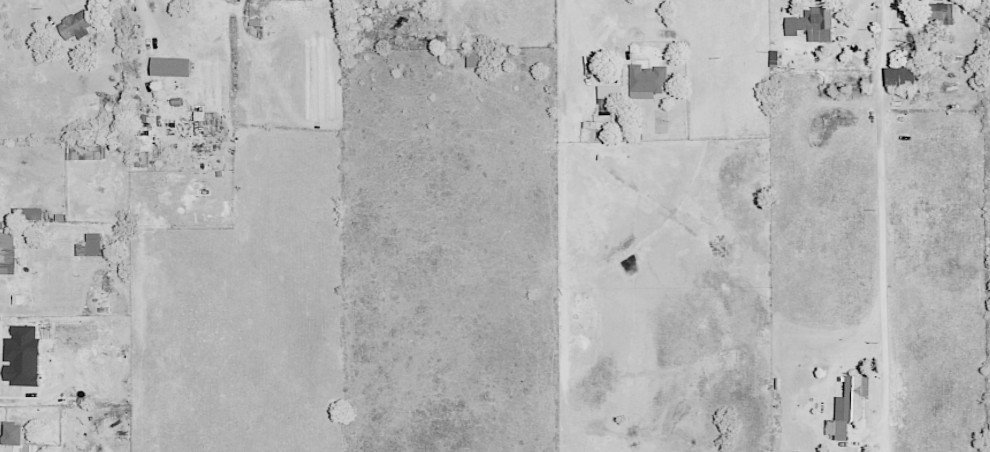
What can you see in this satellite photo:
building: (941, 11)
road: (147, 22)
building: (78, 24)
building: (814, 24)
road: (577, 27)
building: (173, 66)
building: (903, 75)
building: (648, 79)
building: (610, 93)
building: (208, 117)
building: (86, 152)
road: (881, 204)
building: (91, 245)
building: (7, 252)
building: (69, 330)
building: (24, 356)
road: (38, 402)
building: (850, 406)
building: (18, 440)

